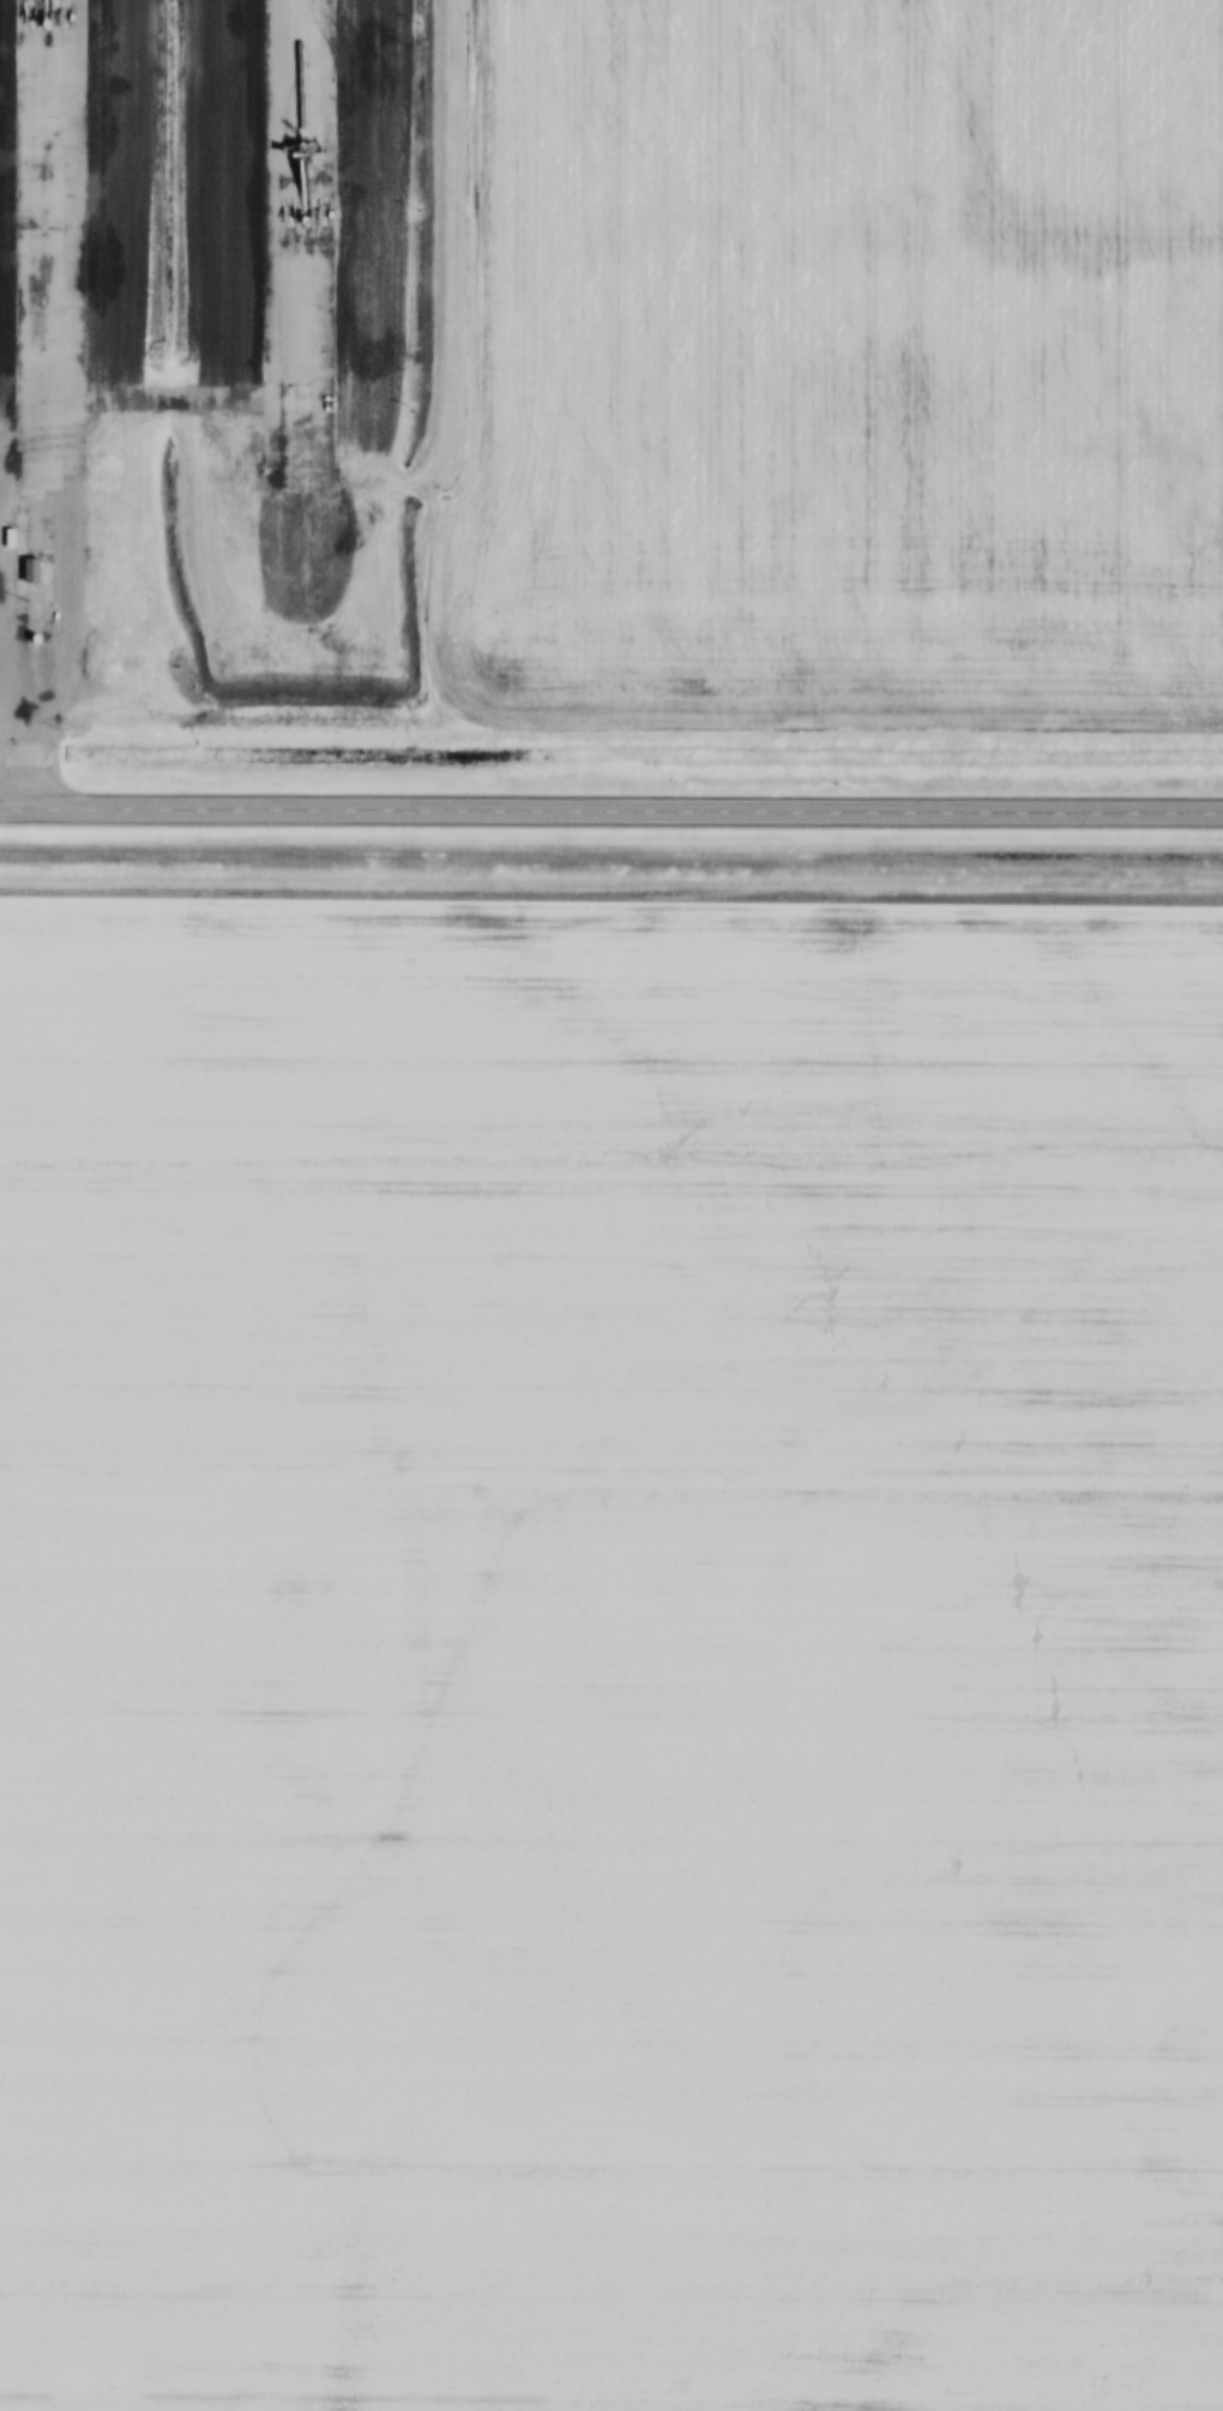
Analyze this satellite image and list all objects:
building: (36, 571)
road: (611, 814)

